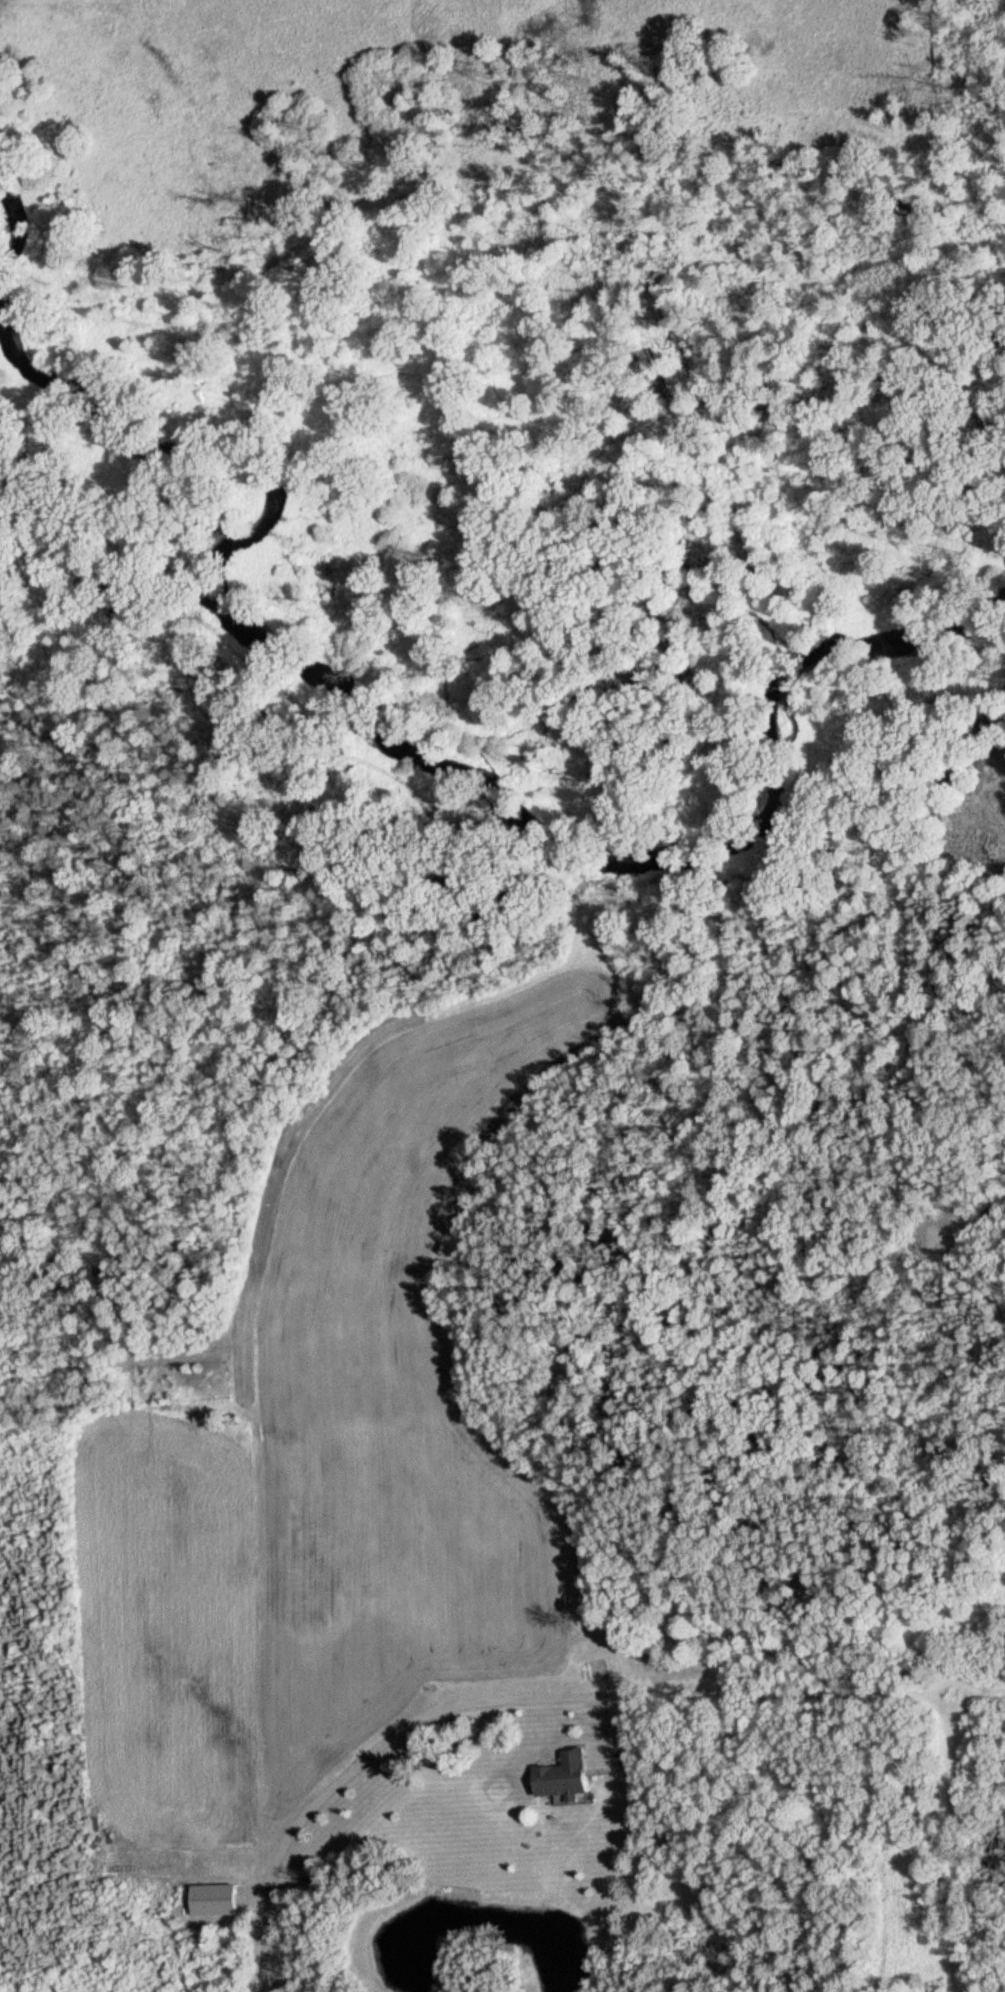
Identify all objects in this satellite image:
river: (11, 228)
river: (421, 754)
road: (965, 1224)
road: (390, 1739)
building: (557, 1777)
building: (210, 1899)

